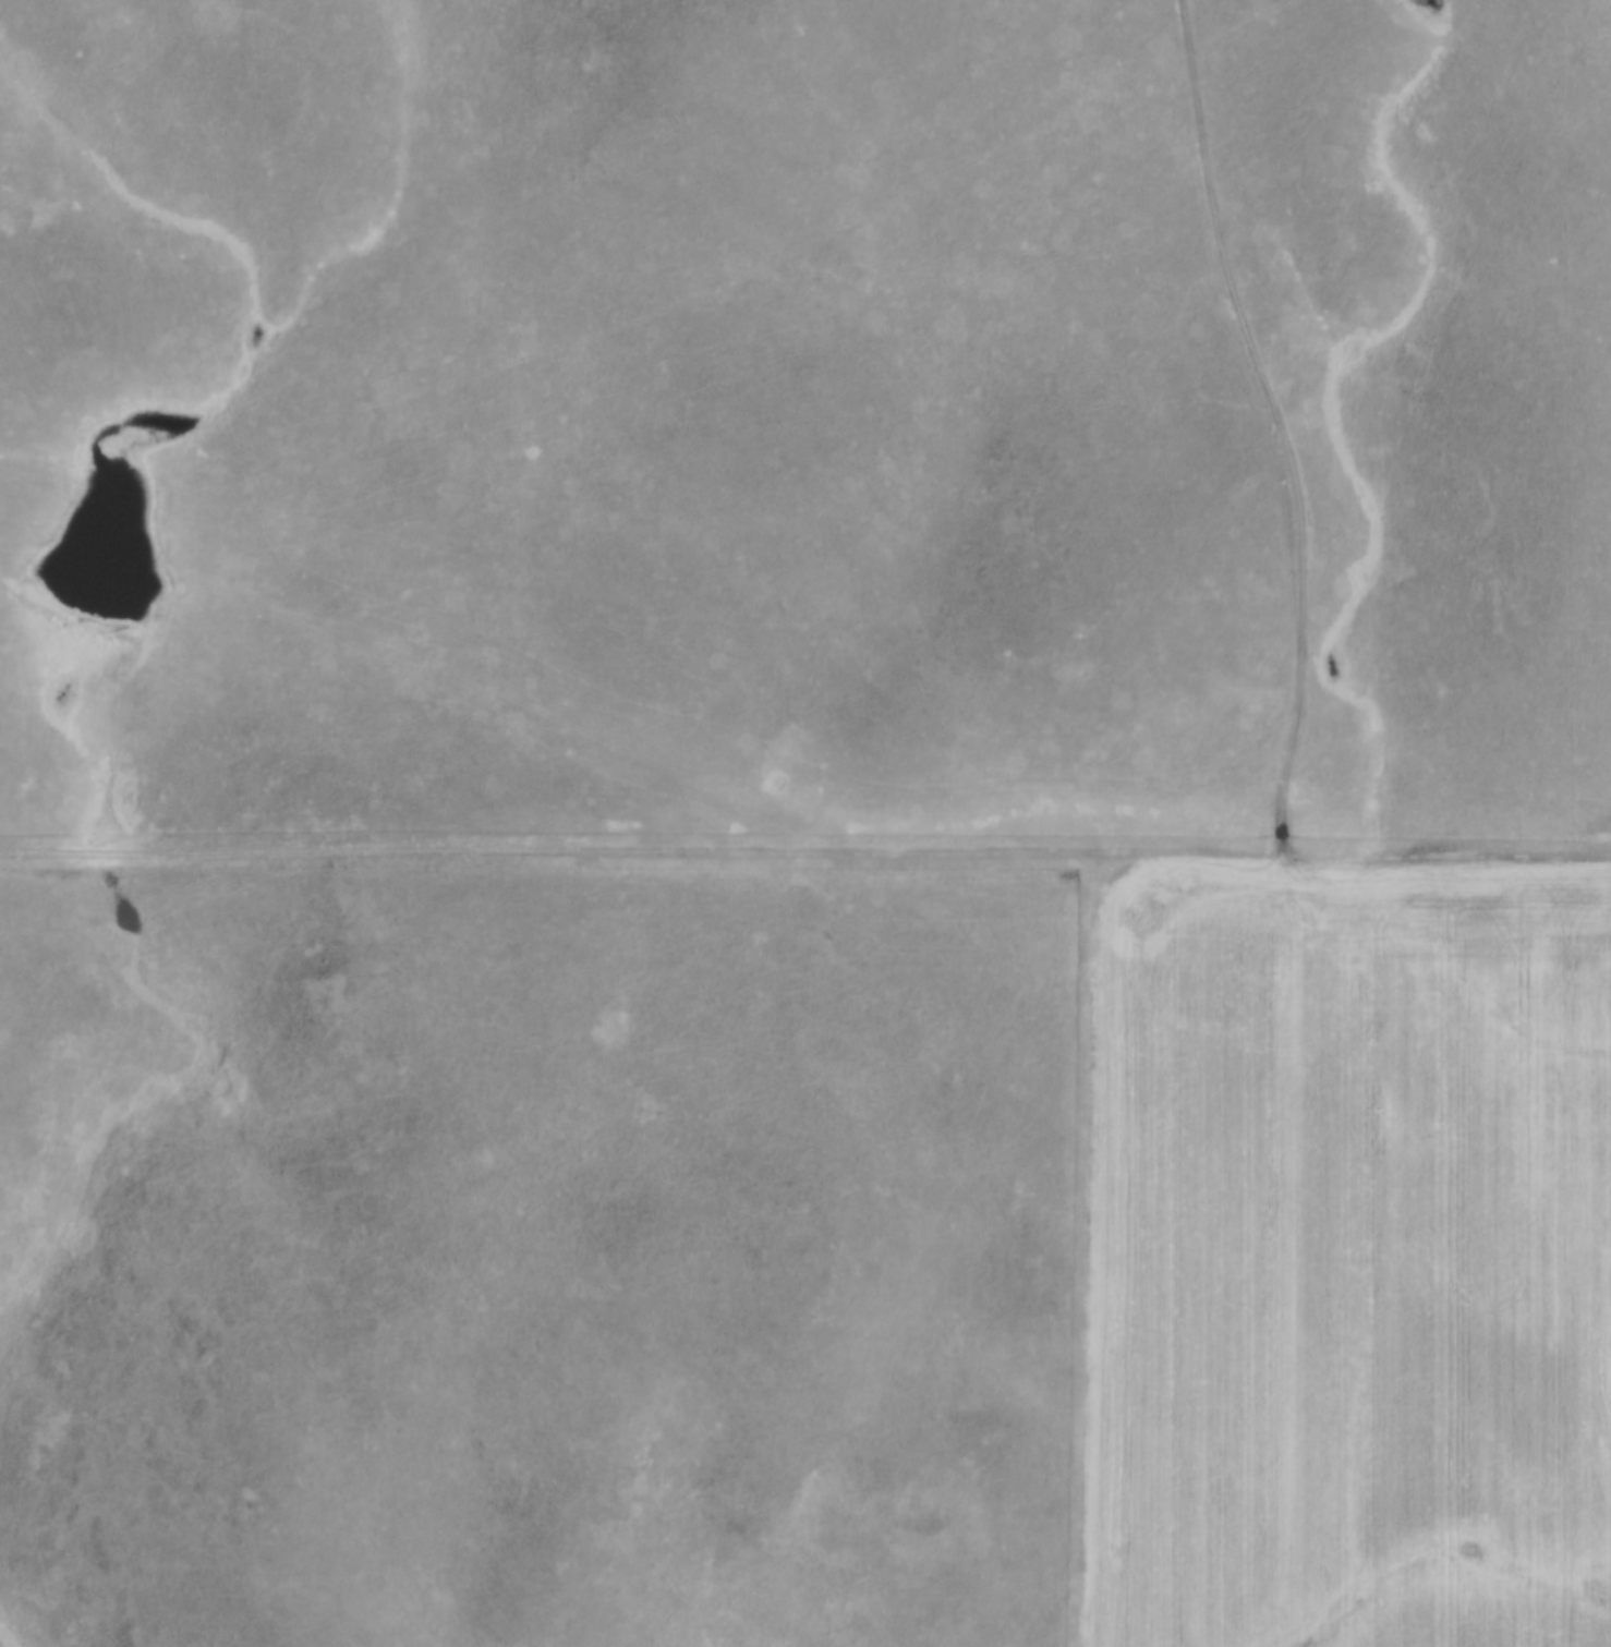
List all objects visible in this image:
road: (1276, 423)
road: (805, 856)

